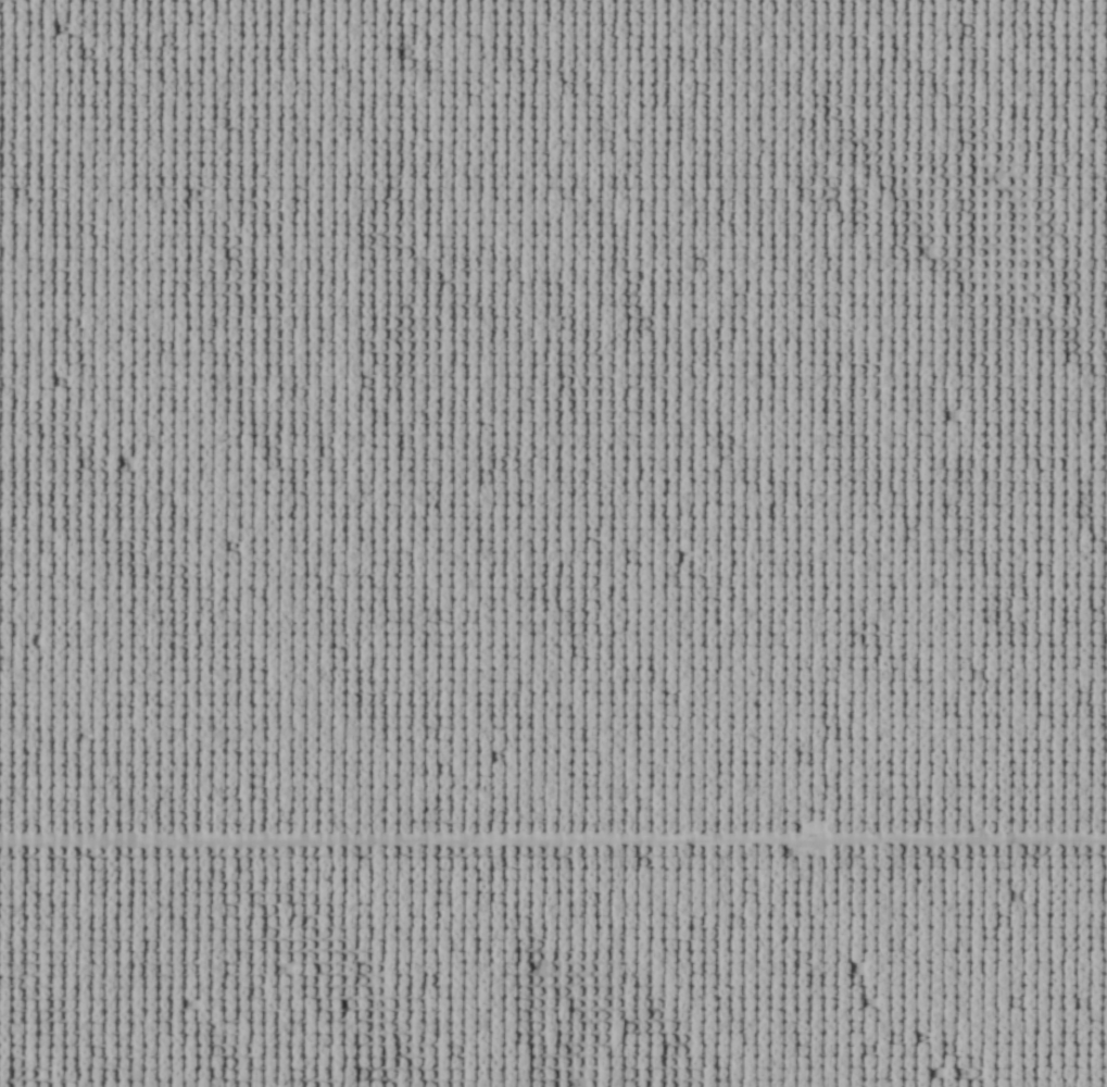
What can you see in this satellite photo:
road: (553, 840)

